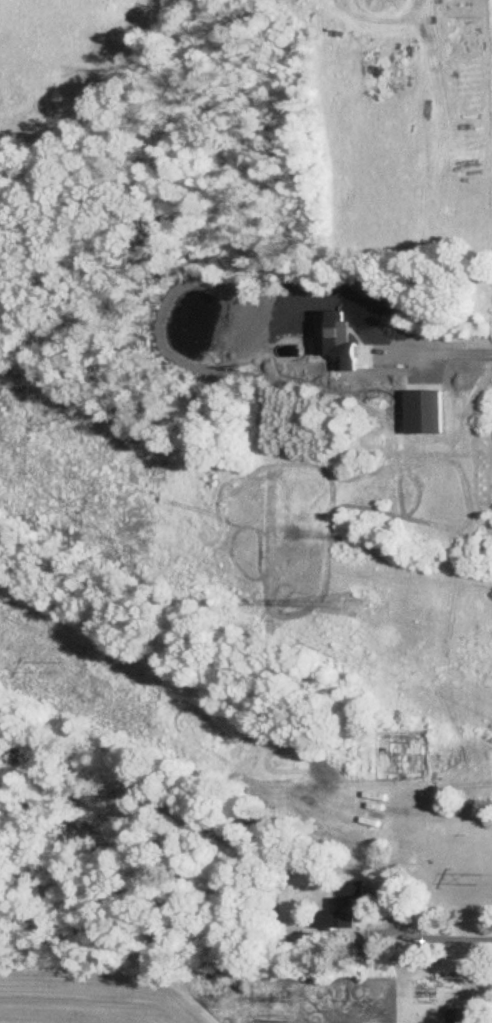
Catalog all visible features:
road: (451, 350)
power tower: (355, 612)
power tower: (69, 663)
building: (343, 915)
road: (432, 933)
building: (377, 950)
building: (465, 1015)

